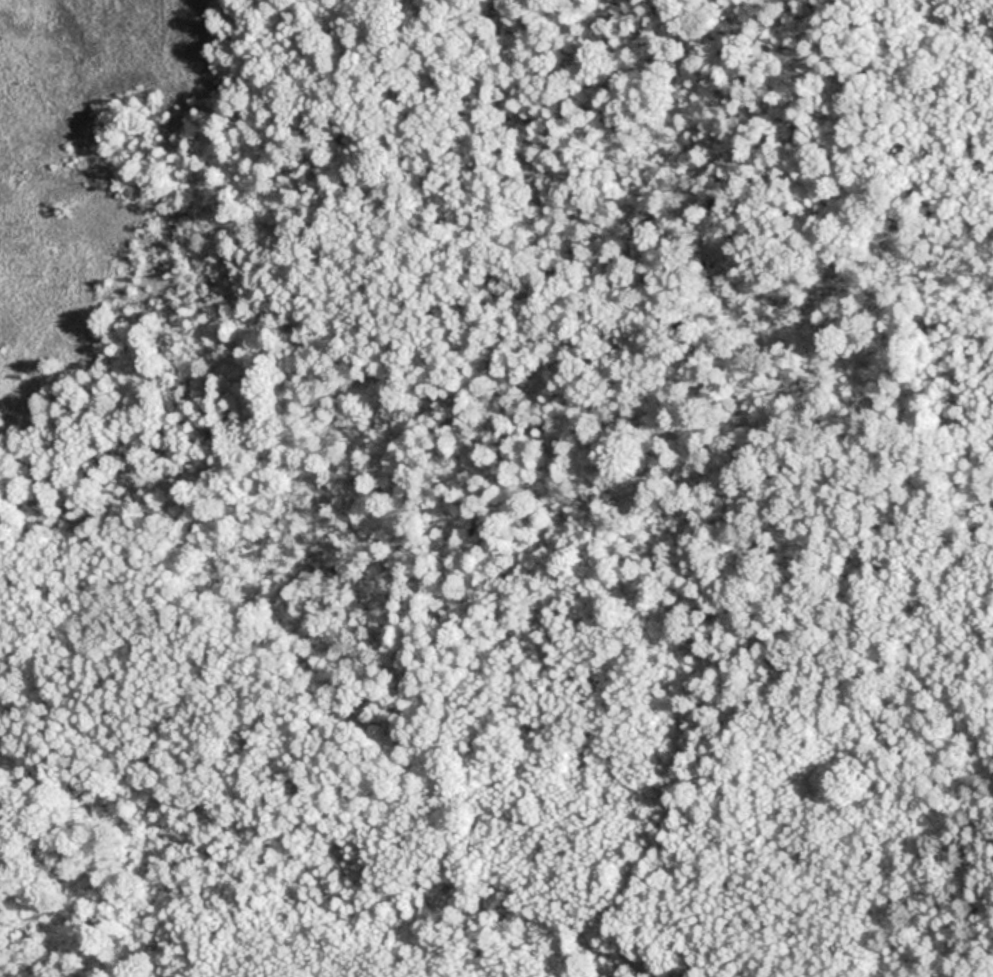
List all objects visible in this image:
park: (496, 488)

